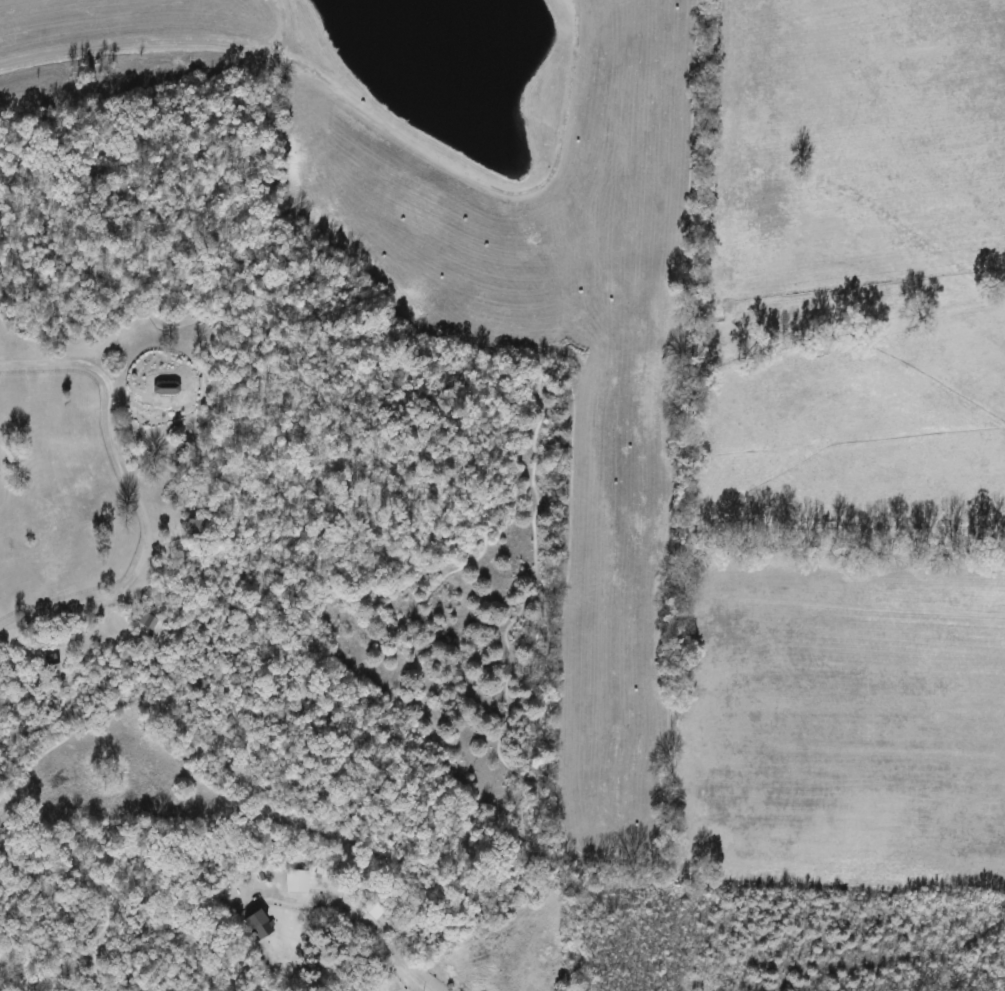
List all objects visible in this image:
road: (136, 494)
building: (299, 882)
building: (376, 909)
building: (264, 926)
road: (356, 927)

